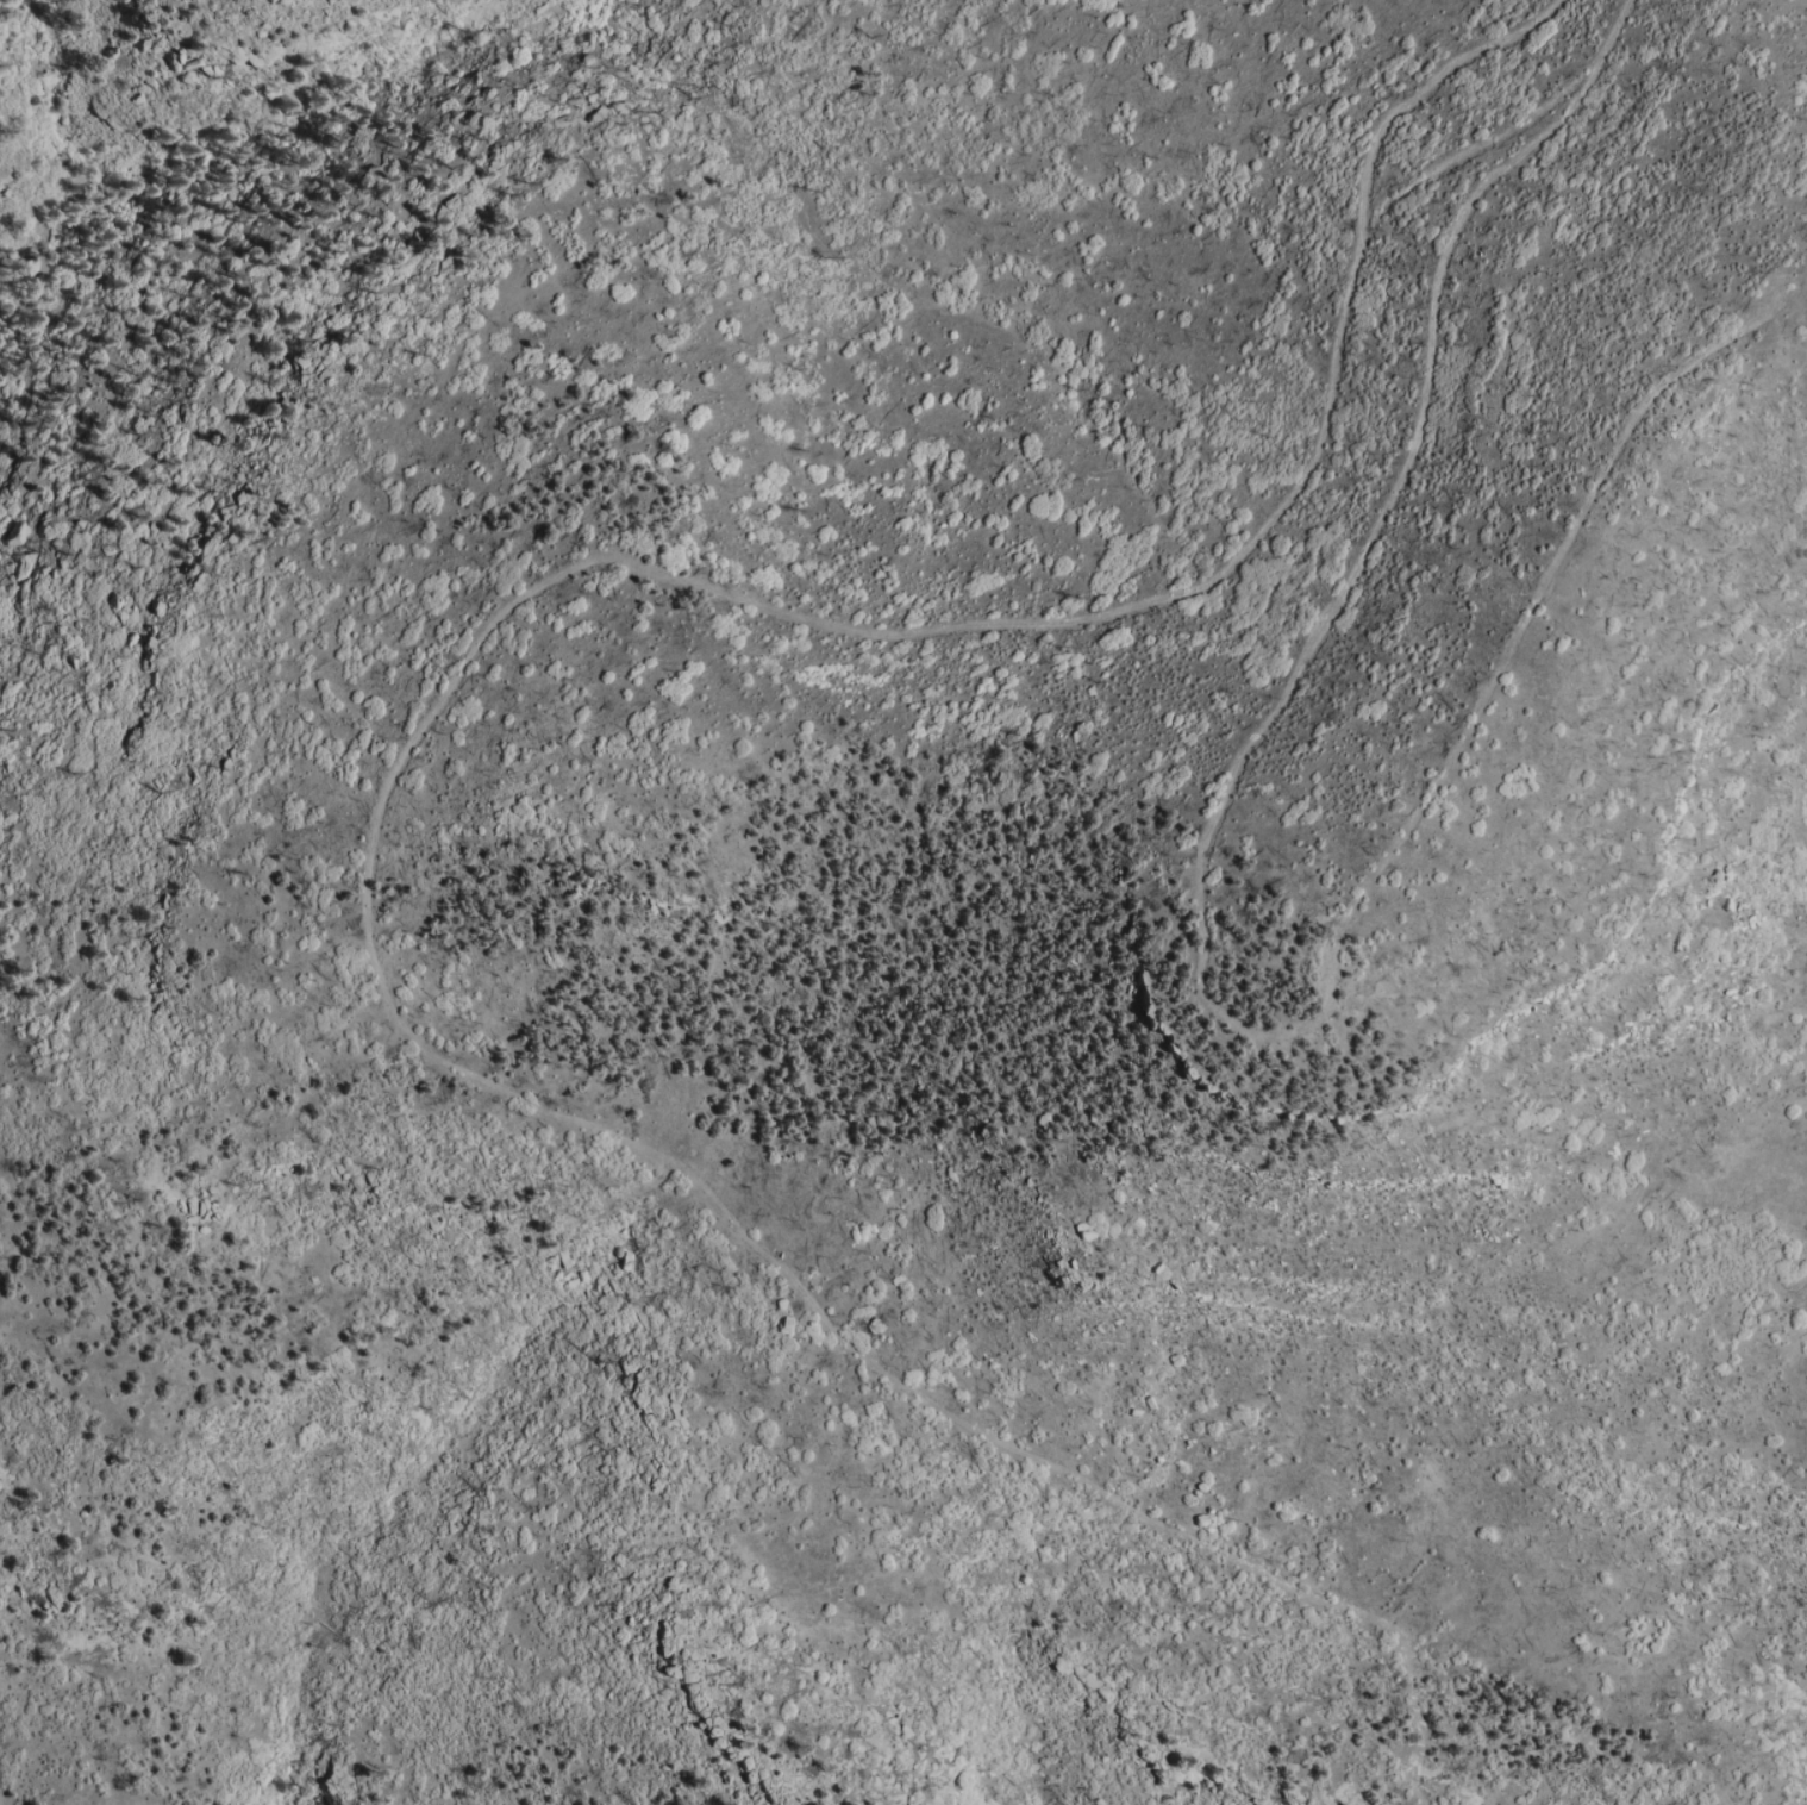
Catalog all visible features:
road: (396, 758)
road: (1193, 936)

